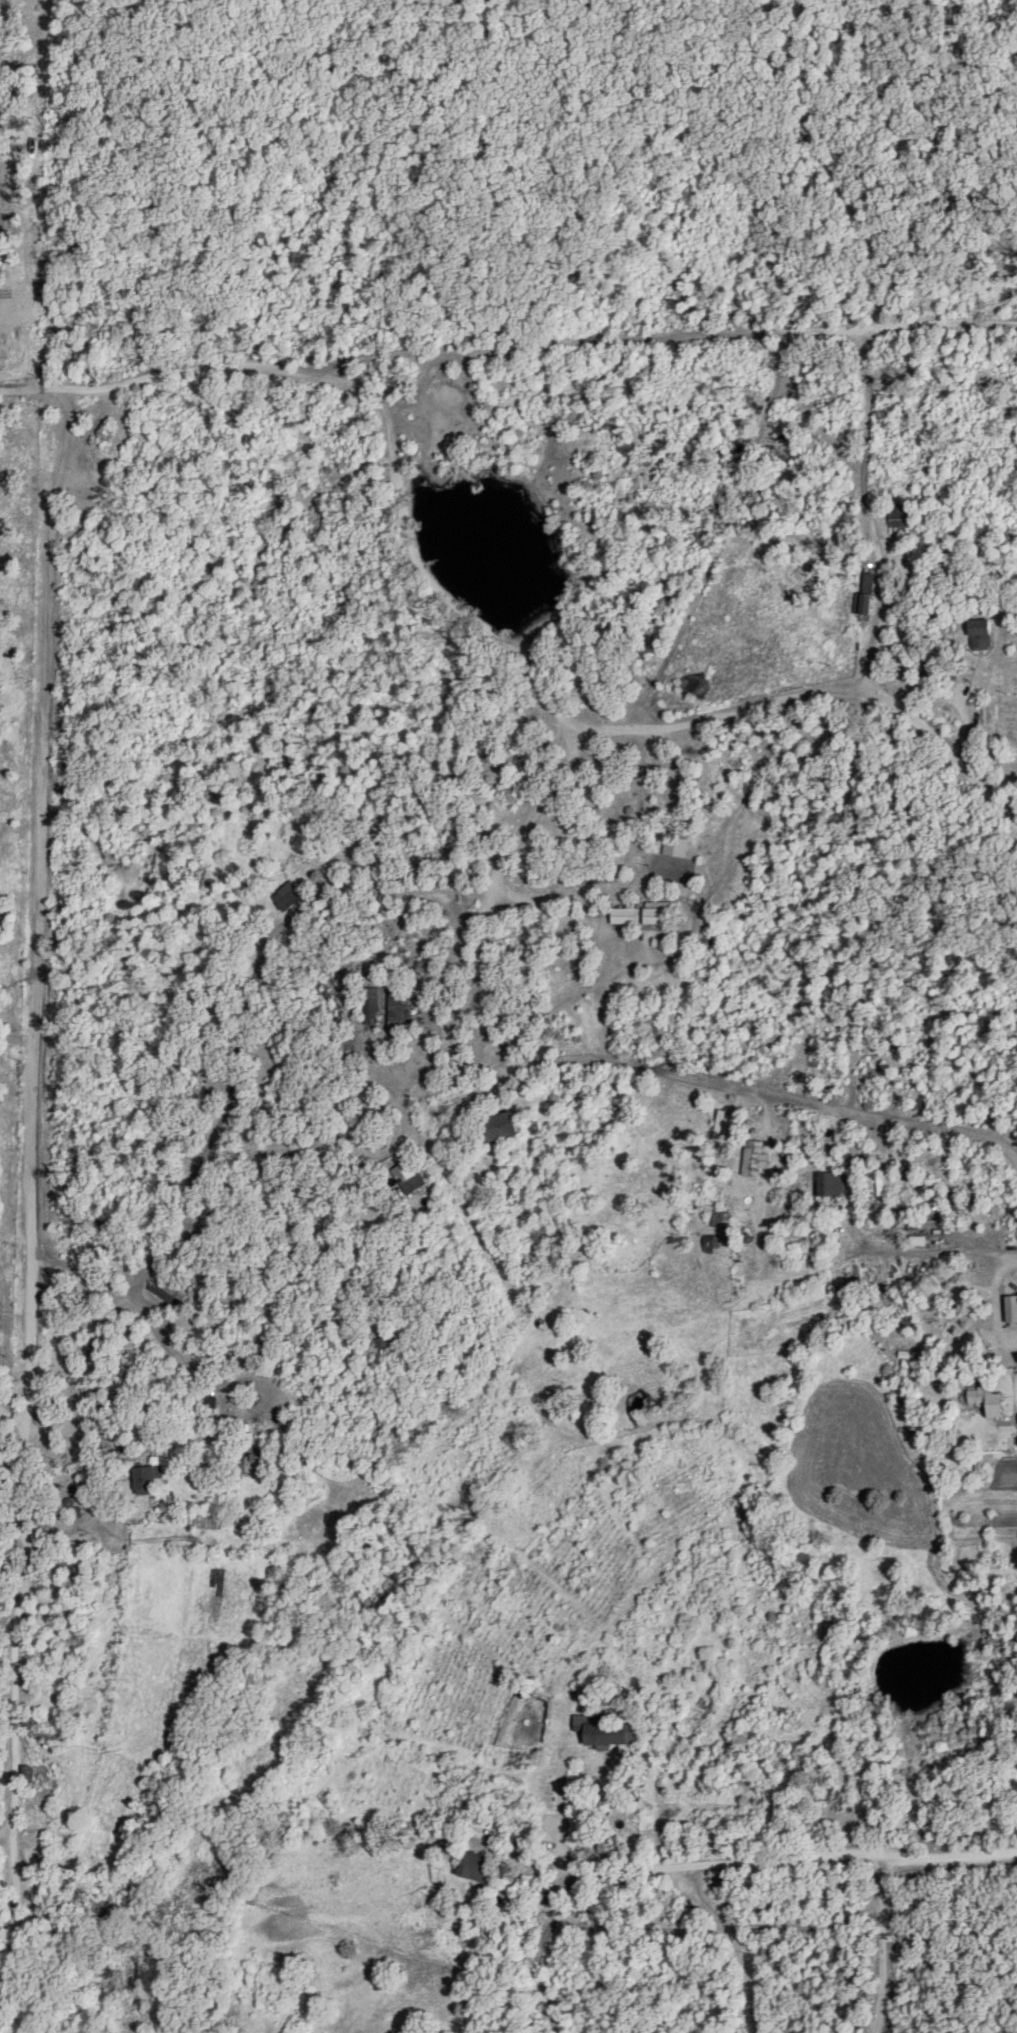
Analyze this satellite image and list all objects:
road: (940, 325)
road: (432, 361)
building: (900, 517)
road: (868, 520)
road: (430, 565)
building: (865, 595)
building: (979, 633)
road: (562, 746)
road: (954, 750)
building: (675, 846)
building: (287, 896)
building: (659, 913)
building: (624, 915)
building: (420, 966)
building: (373, 1004)
building: (397, 1004)
road: (262, 1039)
road: (416, 1083)
building: (496, 1127)
building: (755, 1159)
building: (408, 1176)
road: (918, 1179)
building: (826, 1185)
building: (890, 1185)
road: (461, 1192)
building: (957, 1199)
building: (918, 1240)
road: (940, 1242)
road: (1007, 1302)
building: (981, 1395)
building: (211, 1401)
building: (248, 1462)
road: (45, 1476)
building: (147, 1478)
road: (17, 1588)
building: (28, 1724)
building: (608, 1732)
building: (815, 1766)
building: (27, 1773)
road: (562, 1805)
building: (689, 1838)
road: (943, 1857)
building: (475, 1866)
road: (714, 1869)
road: (738, 1943)
road: (881, 1945)

